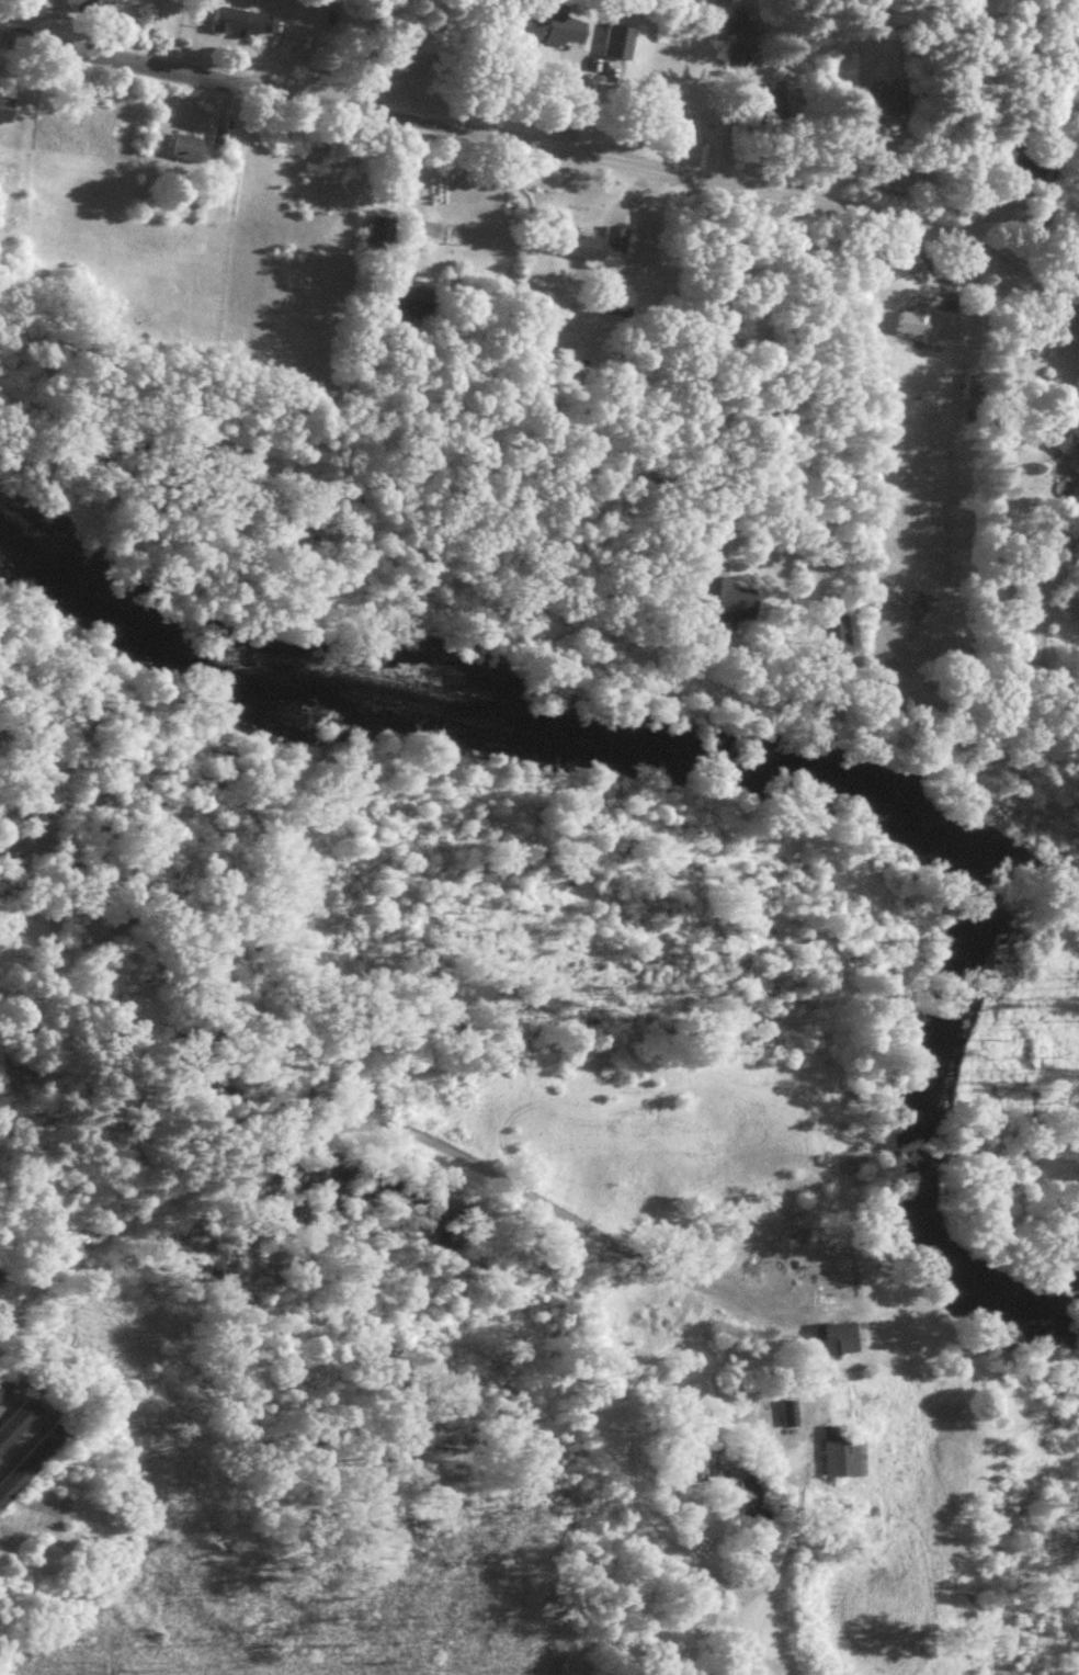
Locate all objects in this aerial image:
building: (96, 7)
building: (251, 26)
building: (550, 34)
building: (729, 38)
building: (612, 48)
building: (868, 109)
building: (9, 114)
road: (553, 150)
building: (192, 154)
road: (413, 194)
building: (382, 233)
building: (594, 249)
building: (620, 305)
building: (411, 306)
building: (919, 329)
building: (1063, 449)
building: (1075, 555)
building: (729, 608)
building: (838, 641)
river: (743, 772)
road: (368, 1127)
building: (829, 1284)
building: (832, 1343)
building: (4, 1382)
road: (9, 1396)
building: (5, 1403)
building: (16, 1418)
building: (784, 1418)
road: (22, 1438)
building: (30, 1457)
building: (839, 1460)
building: (703, 1599)

